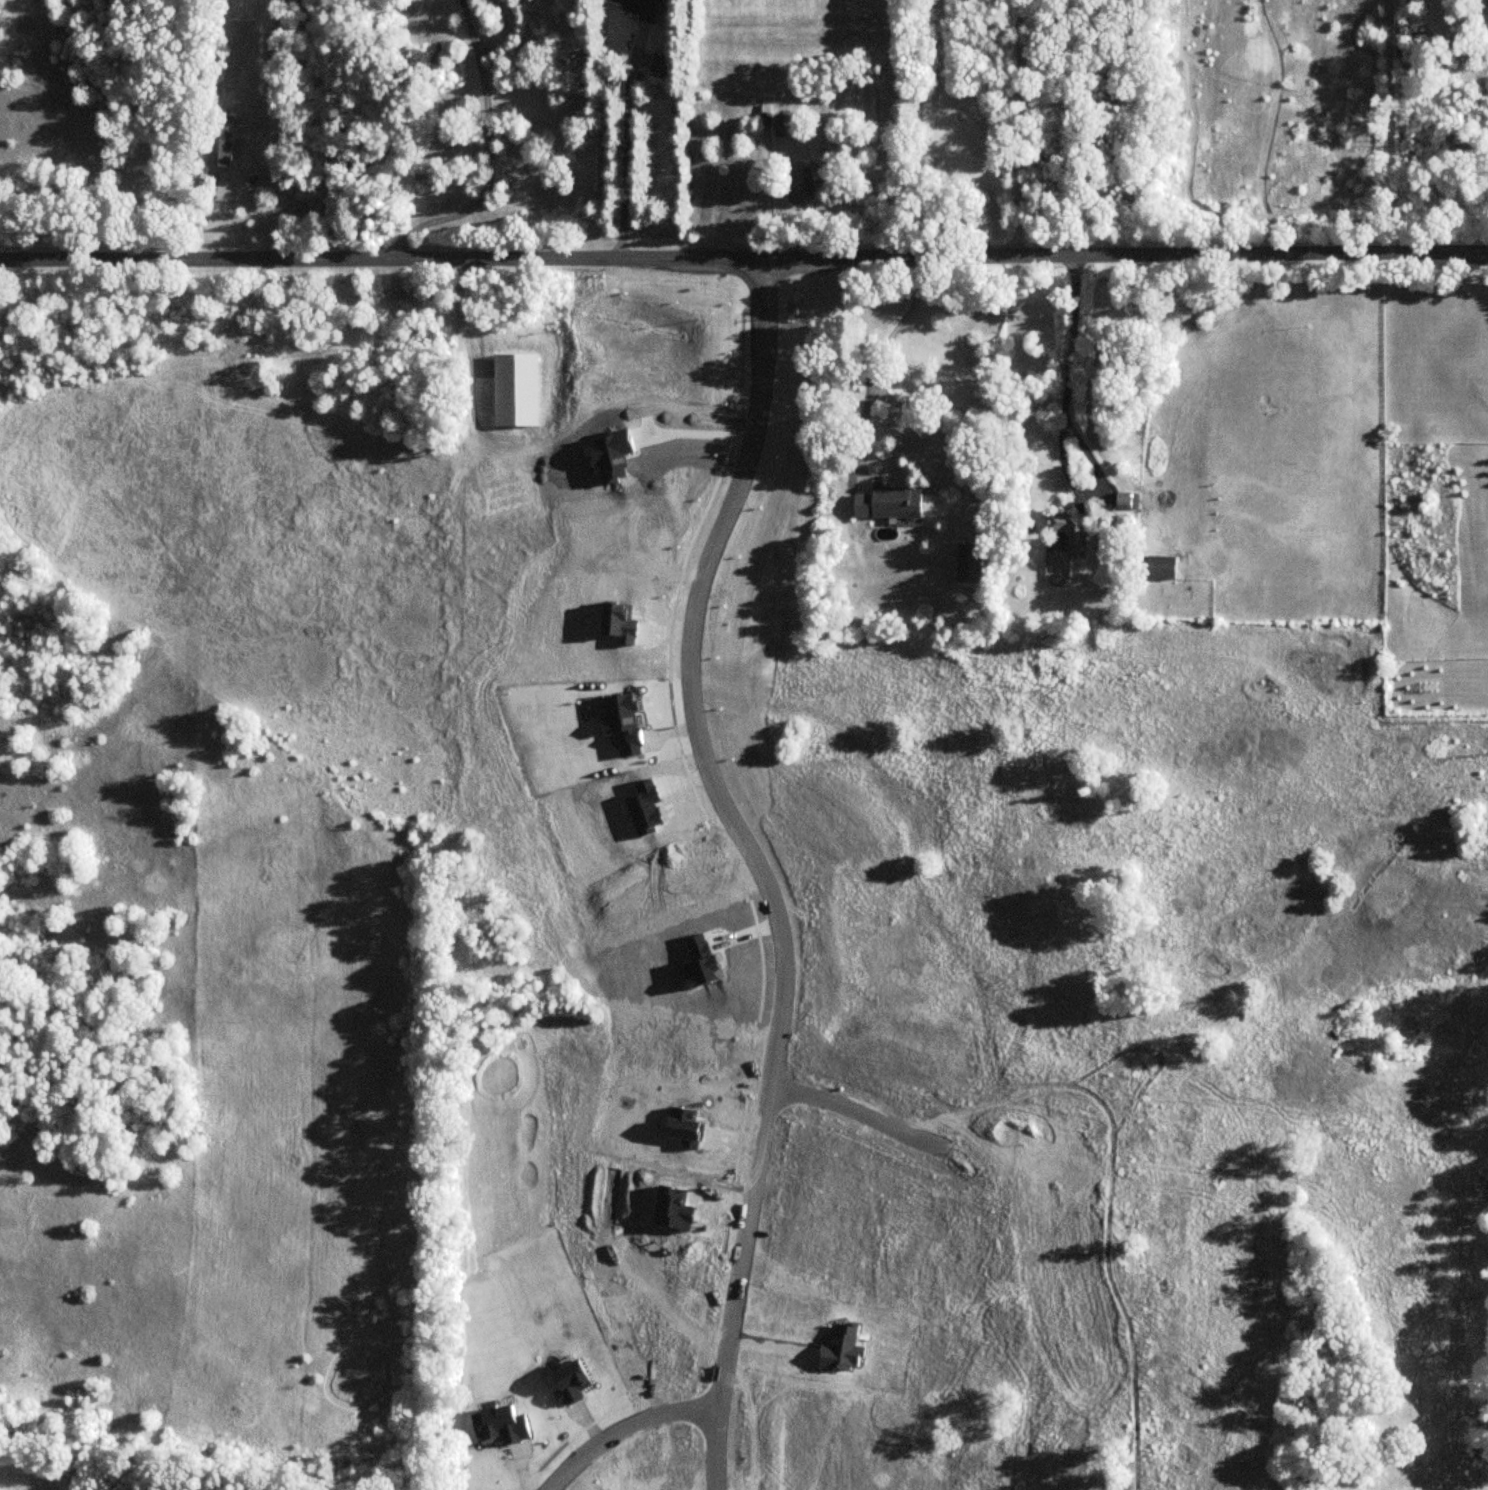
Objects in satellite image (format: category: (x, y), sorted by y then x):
building: (636, 8)
building: (765, 120)
building: (785, 126)
road: (1021, 128)
road: (274, 129)
building: (218, 141)
road: (489, 155)
road: (626, 157)
building: (799, 186)
road: (744, 259)
road: (881, 352)
building: (513, 388)
road: (1063, 426)
road: (695, 434)
building: (895, 498)
building: (1127, 499)
building: (1071, 528)
building: (968, 561)
building: (1161, 564)
building: (623, 705)
building: (520, 866)
road: (760, 866)
road: (628, 1428)

